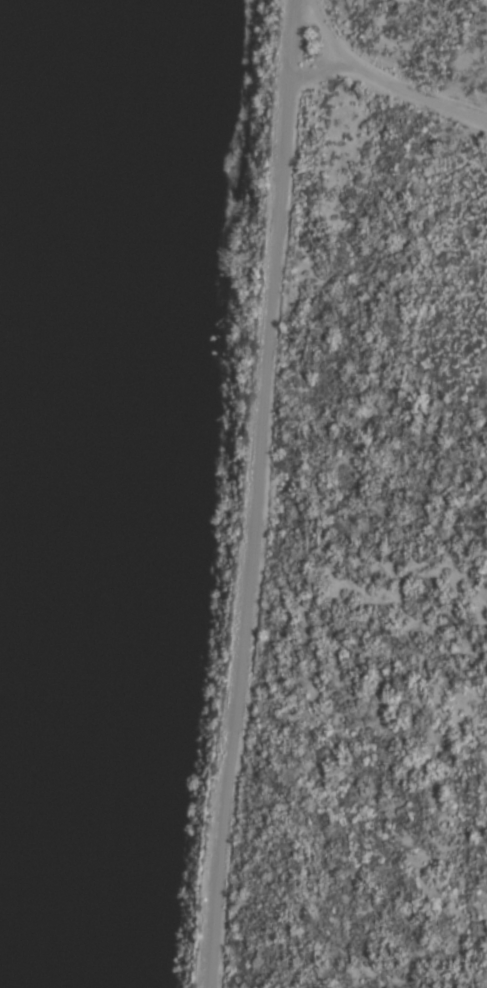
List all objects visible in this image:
road: (378, 82)
river: (65, 494)

